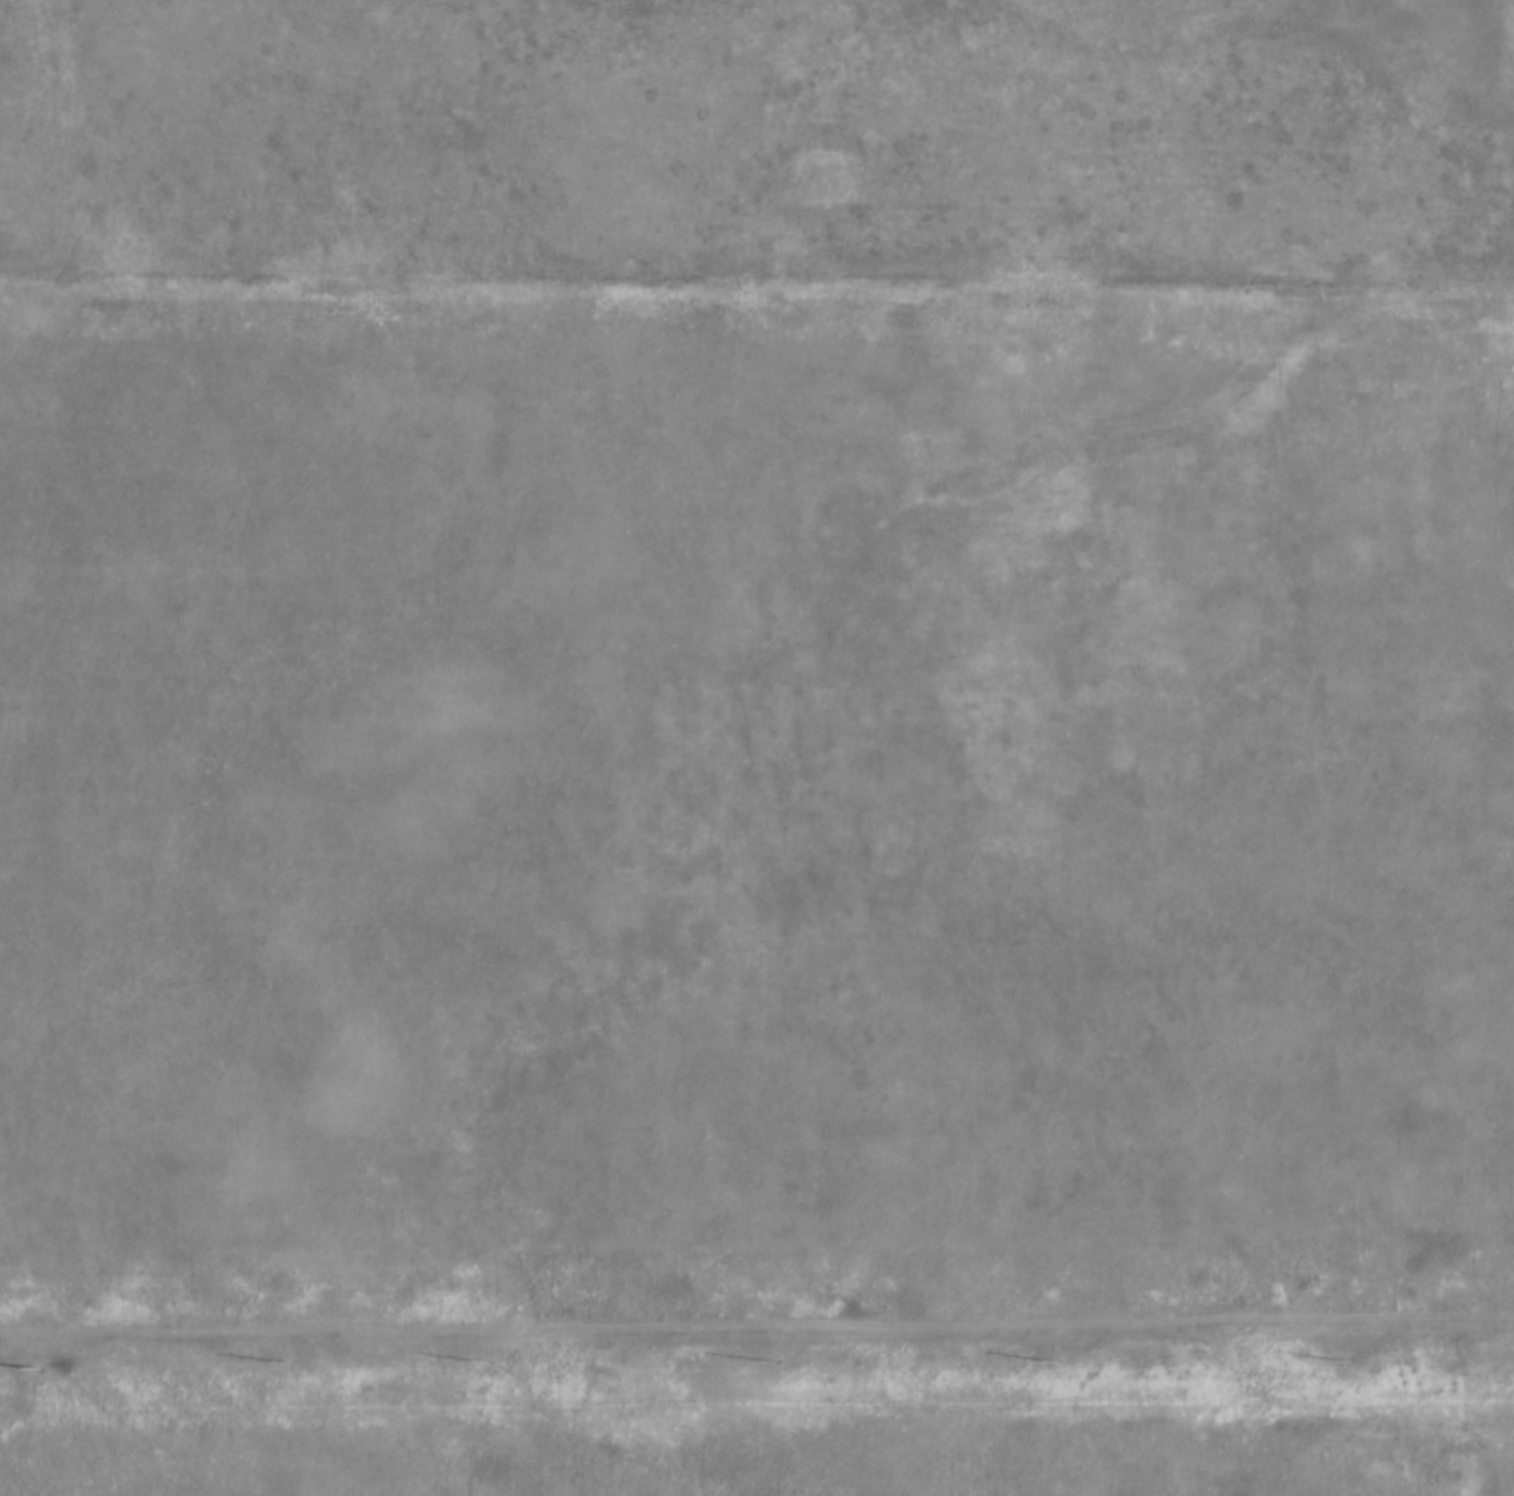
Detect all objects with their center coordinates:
road: (1272, 21)
road: (757, 270)
road: (757, 1326)

